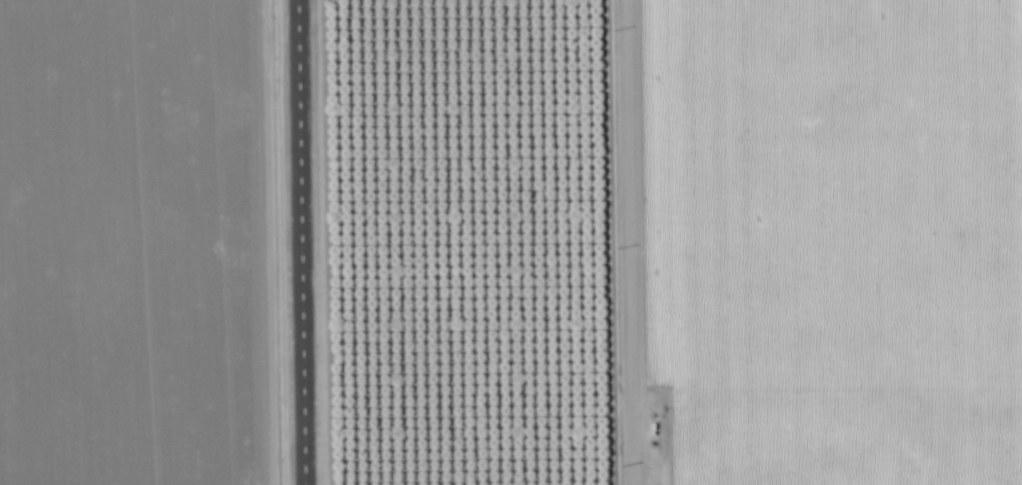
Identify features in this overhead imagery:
crop: (128, 242)
airport runway: (298, 242)
road: (601, 242)
crop: (807, 242)

